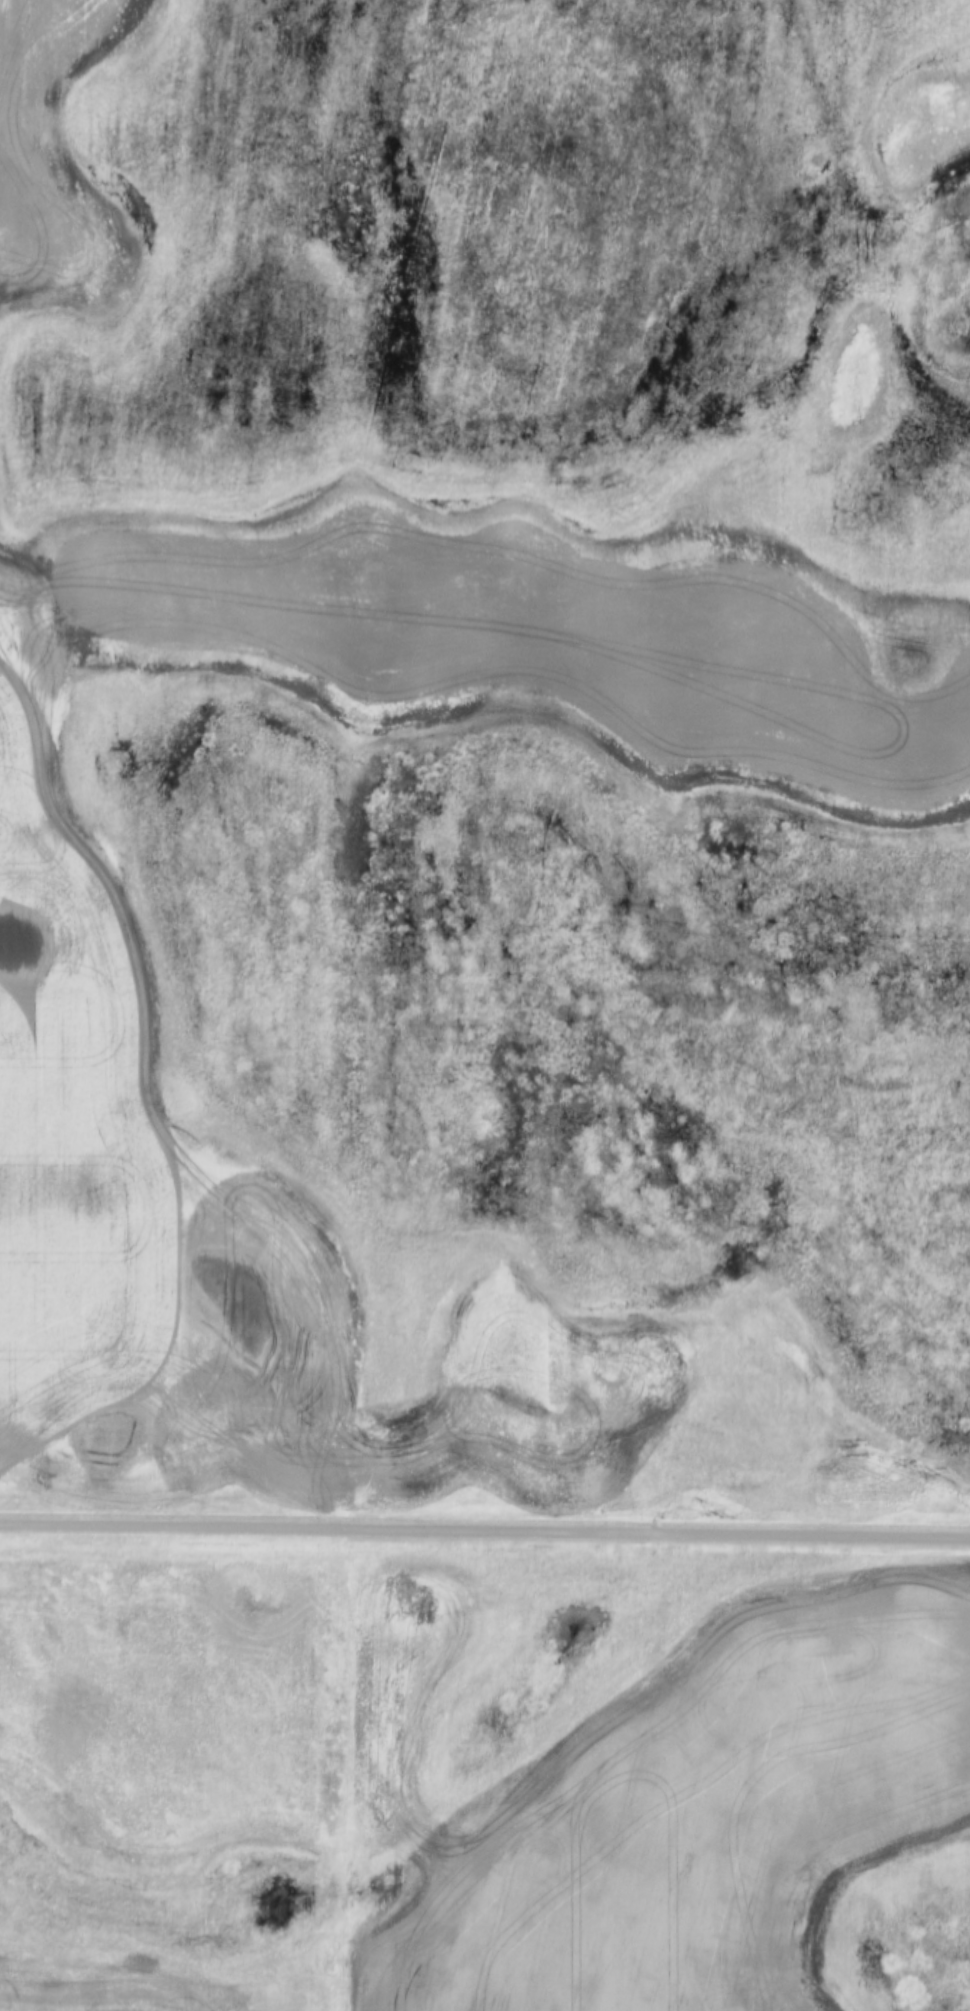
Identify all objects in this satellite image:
road: (485, 1529)

